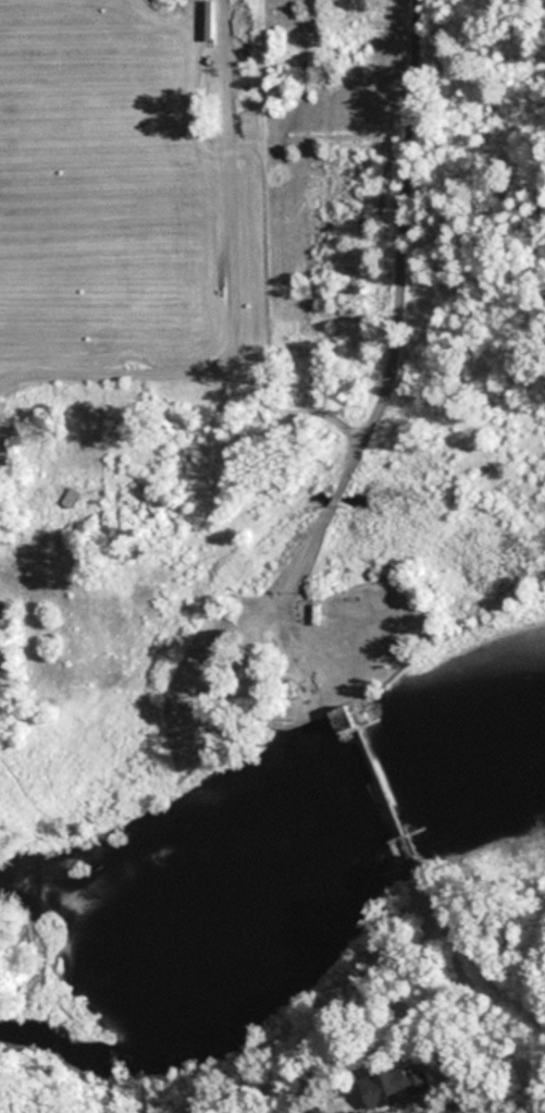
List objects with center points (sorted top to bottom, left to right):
road: (393, 327)
building: (71, 498)
river: (276, 845)
building: (398, 1084)

